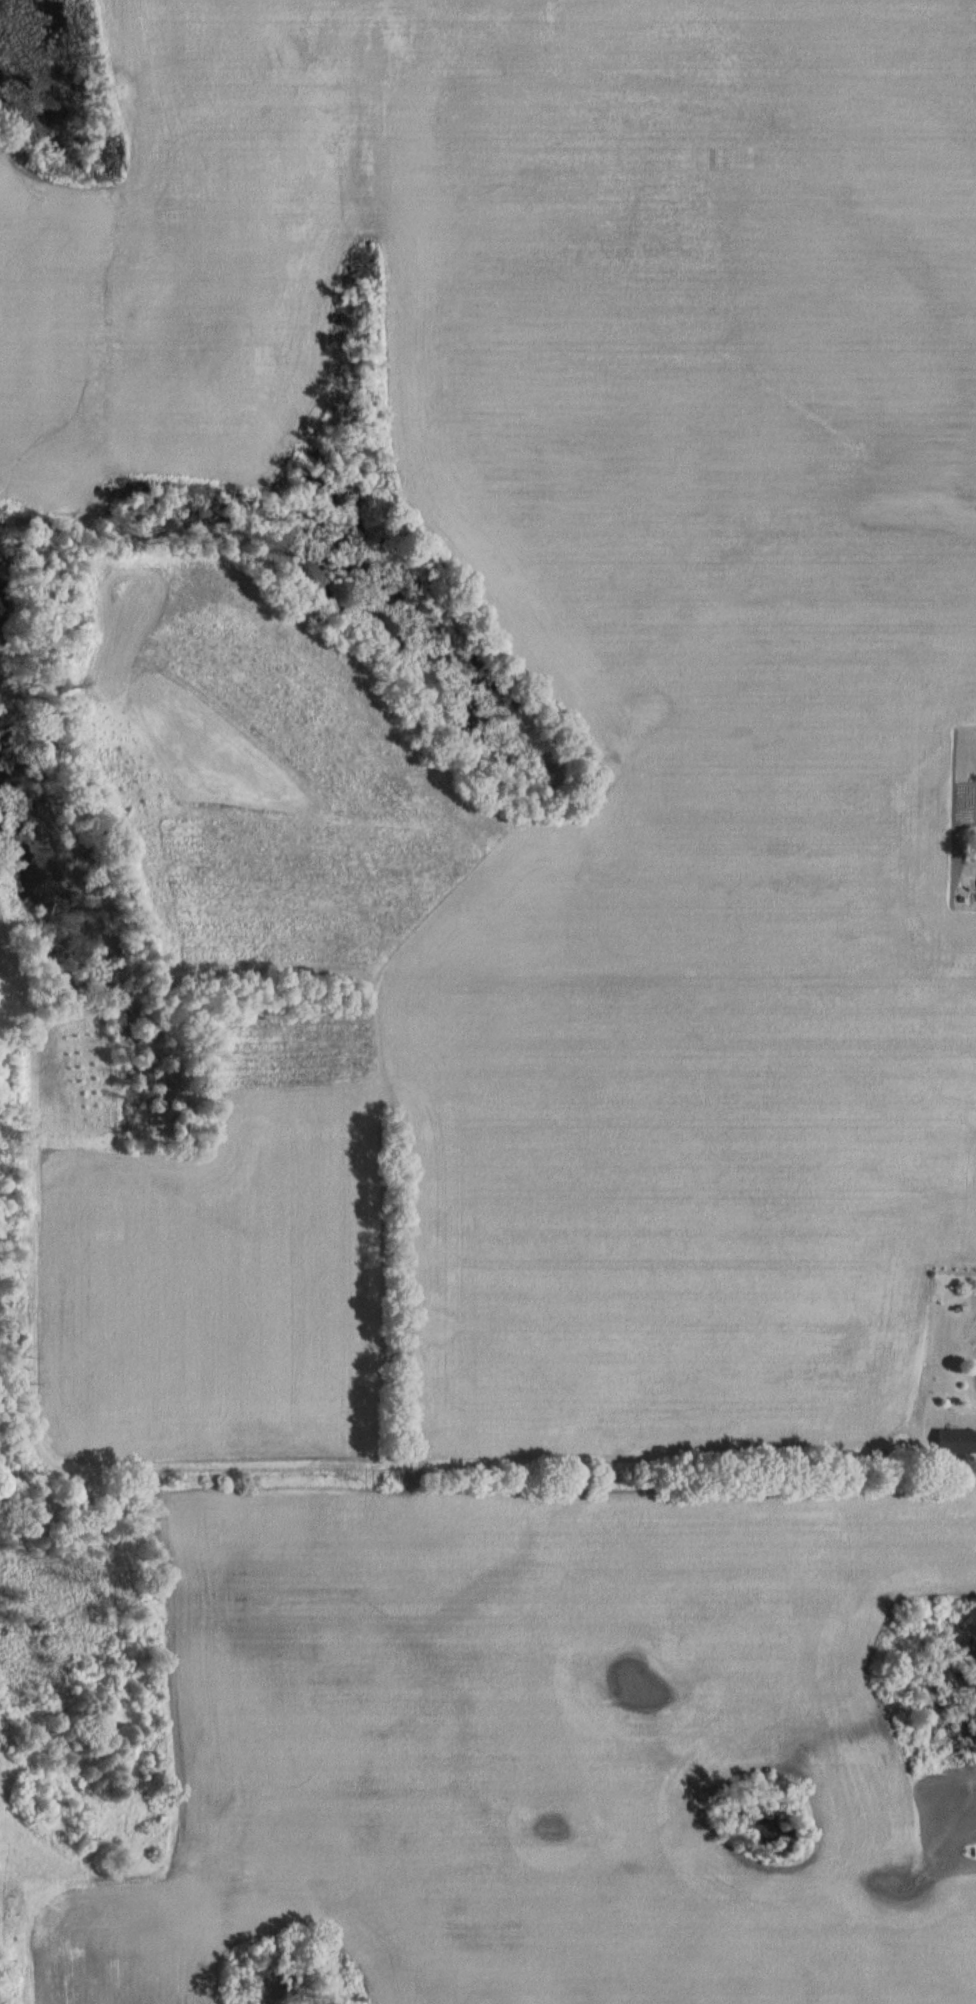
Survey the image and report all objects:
building: (953, 1441)

